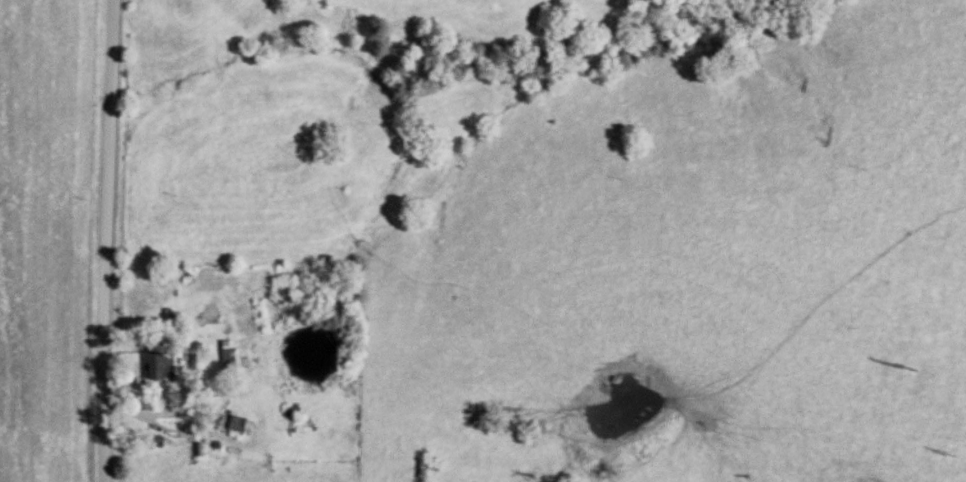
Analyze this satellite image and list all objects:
road: (103, 241)
building: (244, 319)
building: (224, 360)
building: (157, 363)
power tower: (906, 366)
building: (234, 423)

